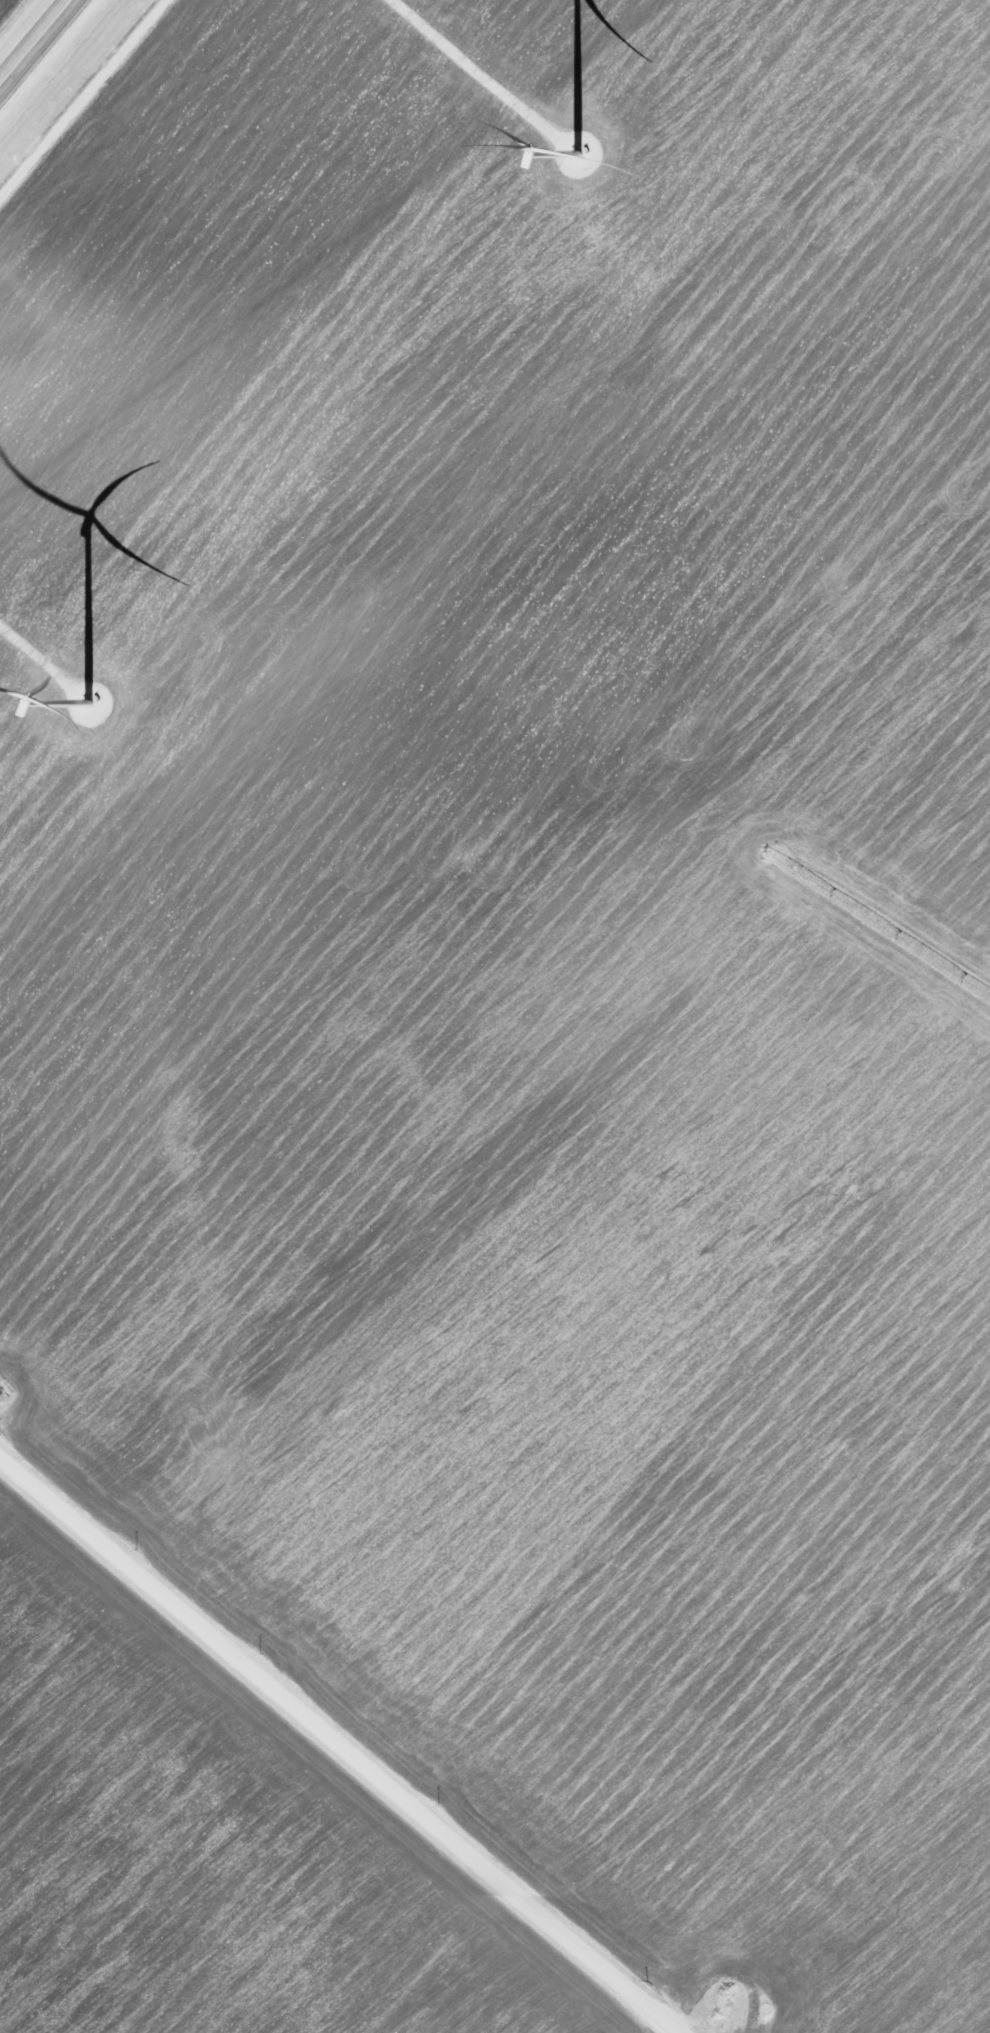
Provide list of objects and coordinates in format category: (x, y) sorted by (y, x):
road: (39, 48)
railway: (71, 86)
wind turbine: (573, 153)
wind turbine: (80, 695)
road: (319, 1757)

